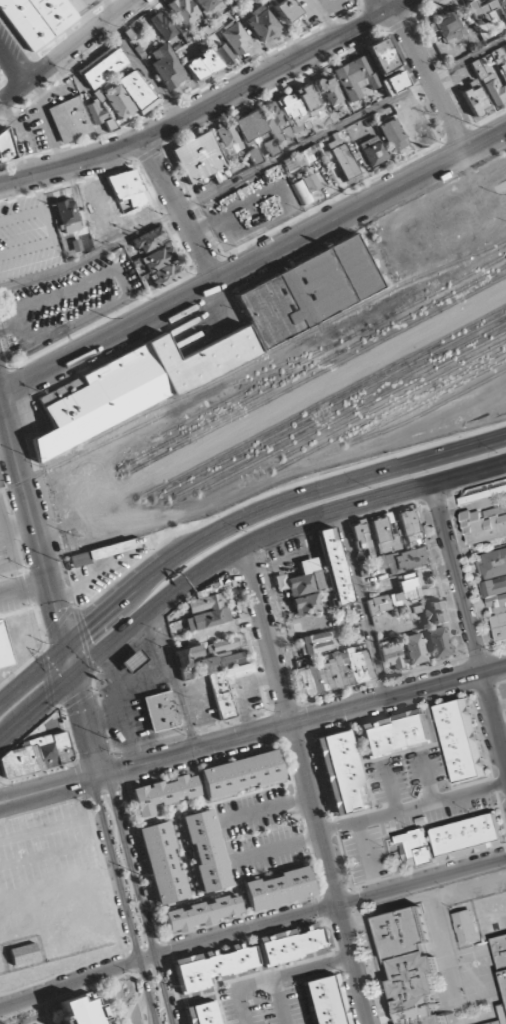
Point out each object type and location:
building: (233, 1)
building: (502, 6)
building: (210, 7)
road: (378, 7)
building: (286, 10)
building: (481, 10)
building: (184, 12)
building: (36, 19)
building: (262, 24)
building: (449, 27)
building: (163, 28)
building: (234, 37)
building: (504, 48)
road: (66, 51)
building: (223, 54)
building: (381, 57)
building: (501, 61)
road: (14, 62)
building: (202, 64)
building: (103, 67)
building: (166, 67)
building: (355, 78)
road: (431, 80)
building: (393, 83)
building: (491, 85)
building: (328, 90)
building: (138, 91)
building: (476, 100)
building: (117, 101)
road: (211, 104)
building: (293, 111)
building: (99, 113)
building: (69, 120)
building: (275, 122)
building: (240, 131)
building: (392, 135)
building: (4, 146)
building: (372, 151)
building: (199, 157)
building: (343, 159)
building: (297, 160)
building: (128, 188)
building: (305, 189)
railway: (456, 200)
road: (181, 211)
building: (67, 216)
parking lot: (28, 237)
building: (148, 240)
railway: (495, 245)
building: (158, 259)
road: (254, 263)
building: (167, 275)
railway: (438, 280)
building: (307, 291)
parking lot: (64, 302)
railway: (262, 357)
railway: (317, 365)
railway: (291, 366)
railway: (318, 375)
building: (130, 387)
railway: (310, 388)
railway: (313, 397)
railway: (327, 399)
railway: (422, 403)
railway: (161, 417)
railway: (472, 419)
railway: (166, 424)
railway: (294, 425)
railway: (334, 431)
railway: (296, 433)
railway: (305, 437)
railway: (349, 443)
railway: (398, 445)
railway: (308, 453)
building: (0, 483)
building: (0, 490)
building: (485, 523)
road: (228, 524)
building: (409, 525)
parking lot: (7, 546)
road: (227, 555)
building: (401, 560)
building: (493, 563)
building: (331, 567)
road: (49, 583)
building: (303, 583)
building: (494, 587)
road: (25, 592)
building: (398, 594)
building: (497, 603)
parking lot: (12, 604)
building: (305, 605)
building: (207, 611)
building: (429, 613)
road: (469, 625)
building: (499, 626)
traffic signals: (90, 628)
traffic signals: (60, 629)
building: (316, 642)
building: (437, 642)
building: (223, 645)
building: (413, 649)
building: (3, 652)
building: (186, 656)
building: (392, 657)
building: (133, 660)
building: (335, 671)
road: (176, 678)
building: (220, 678)
traffic signals: (79, 702)
traffic signals: (43, 705)
building: (159, 710)
road: (262, 732)
building: (394, 733)
building: (459, 740)
building: (36, 755)
building: (341, 772)
building: (240, 774)
road: (306, 785)
building: (161, 793)
road: (9, 794)
road: (10, 804)
parking lot: (405, 806)
parking lot: (260, 832)
building: (467, 836)
building: (413, 847)
building: (204, 850)
building: (162, 862)
building: (277, 887)
road: (138, 897)
road: (123, 899)
building: (202, 913)
building: (463, 925)
road: (251, 926)
building: (290, 943)
building: (22, 954)
building: (500, 954)
building: (210, 966)
building: (409, 968)
building: (324, 1000)
parking lot: (263, 1002)
building: (78, 1011)
building: (503, 1011)
building: (202, 1013)

